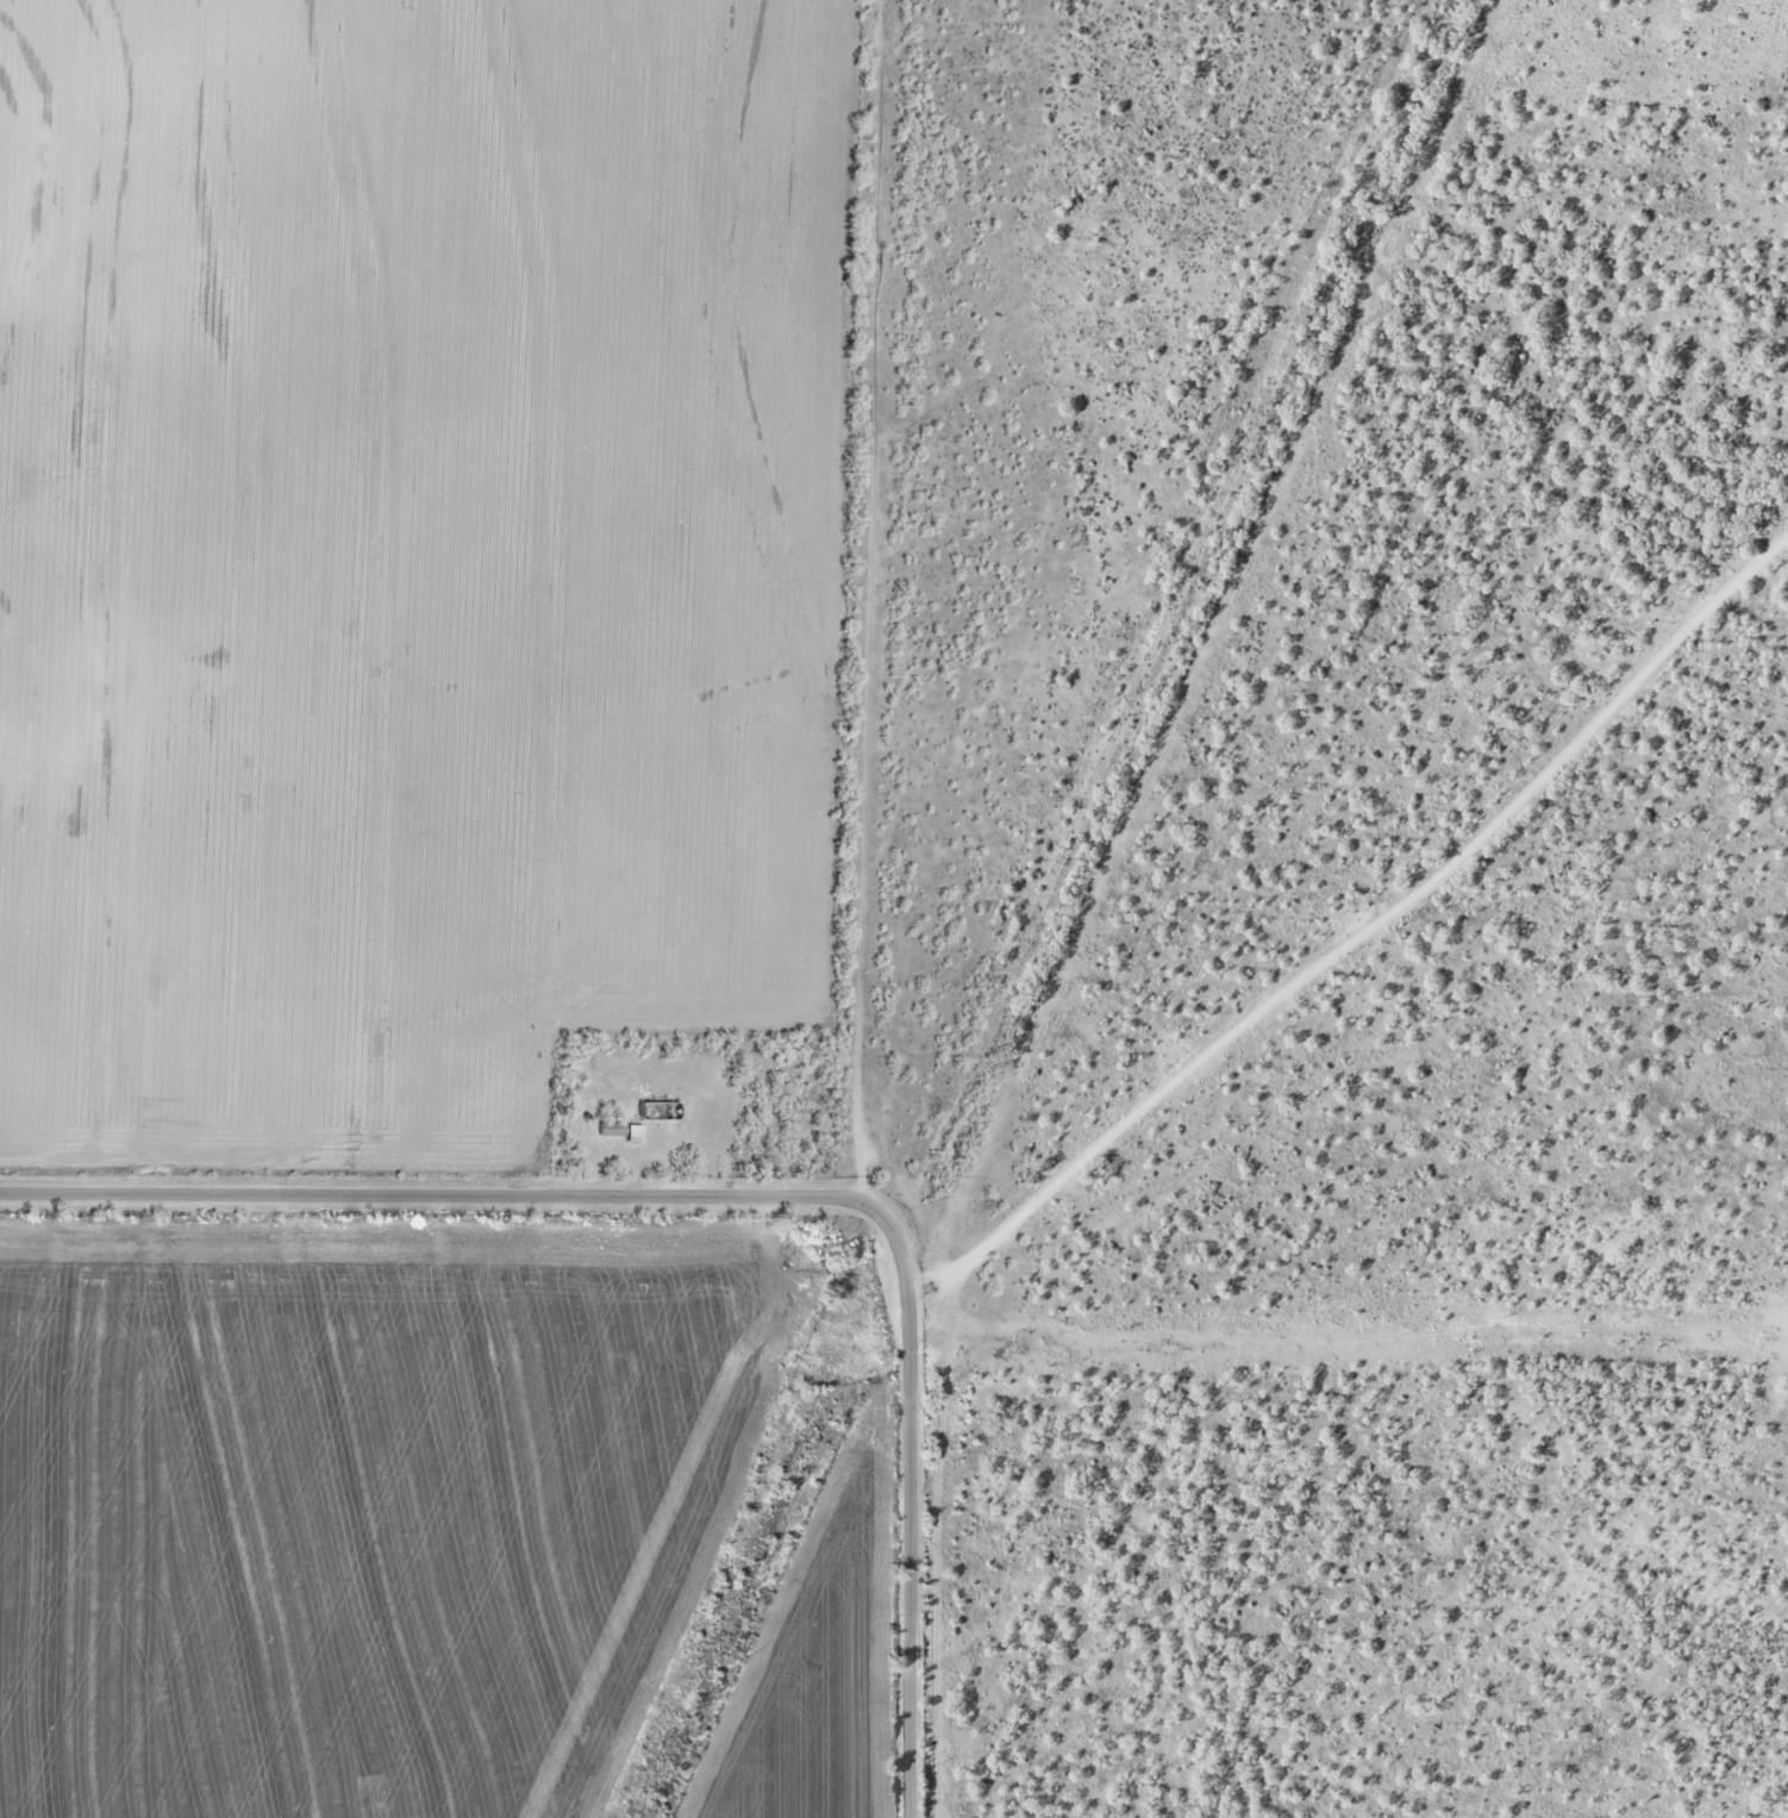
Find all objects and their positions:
road: (869, 579)
road: (444, 1158)
road: (879, 1488)

